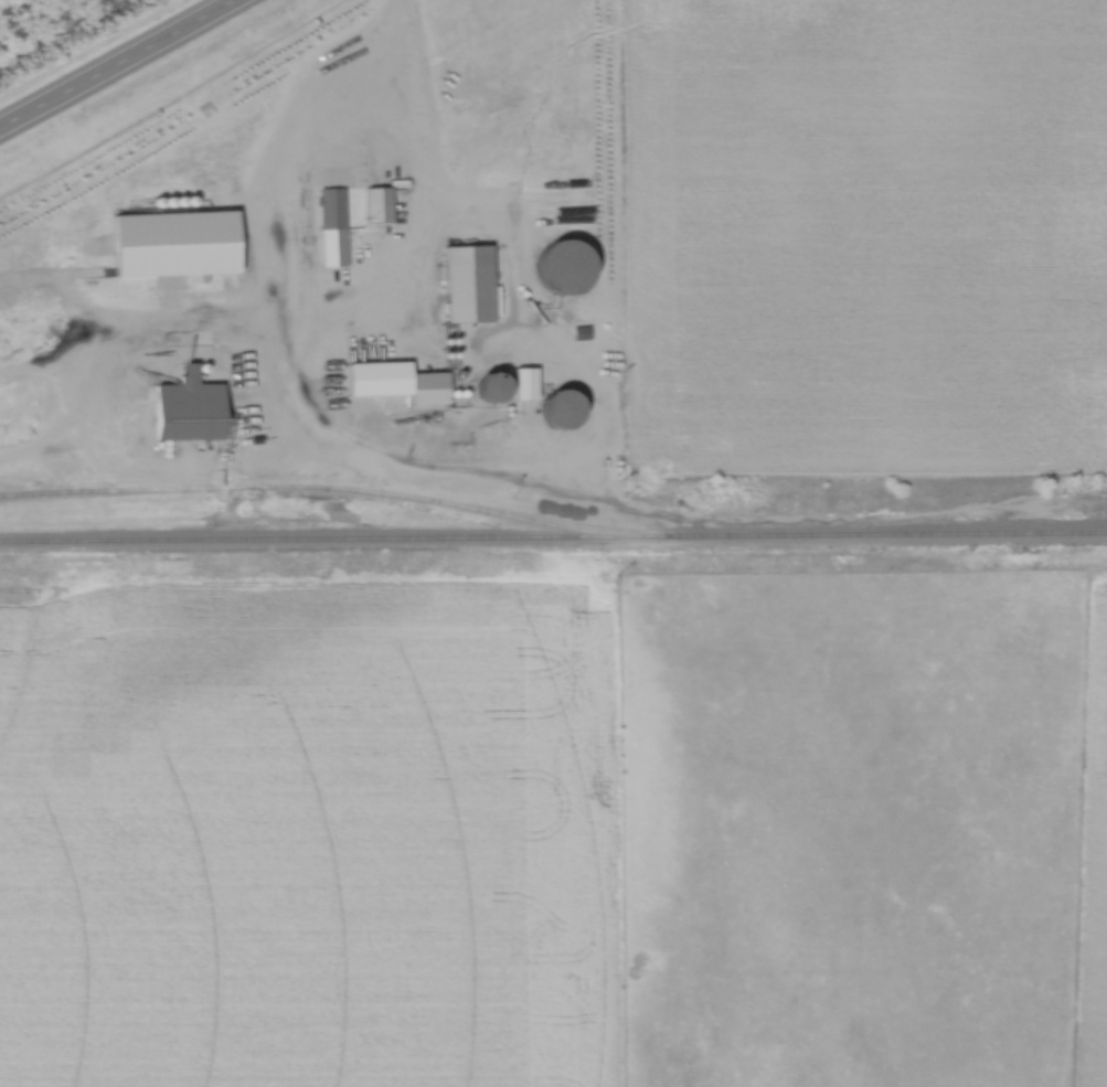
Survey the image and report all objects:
road: (121, 67)
road: (421, 145)
building: (223, 203)
building: (375, 207)
building: (328, 211)
building: (556, 270)
building: (461, 286)
building: (488, 391)
building: (179, 412)
building: (550, 412)
railway: (302, 487)
railway: (553, 540)

